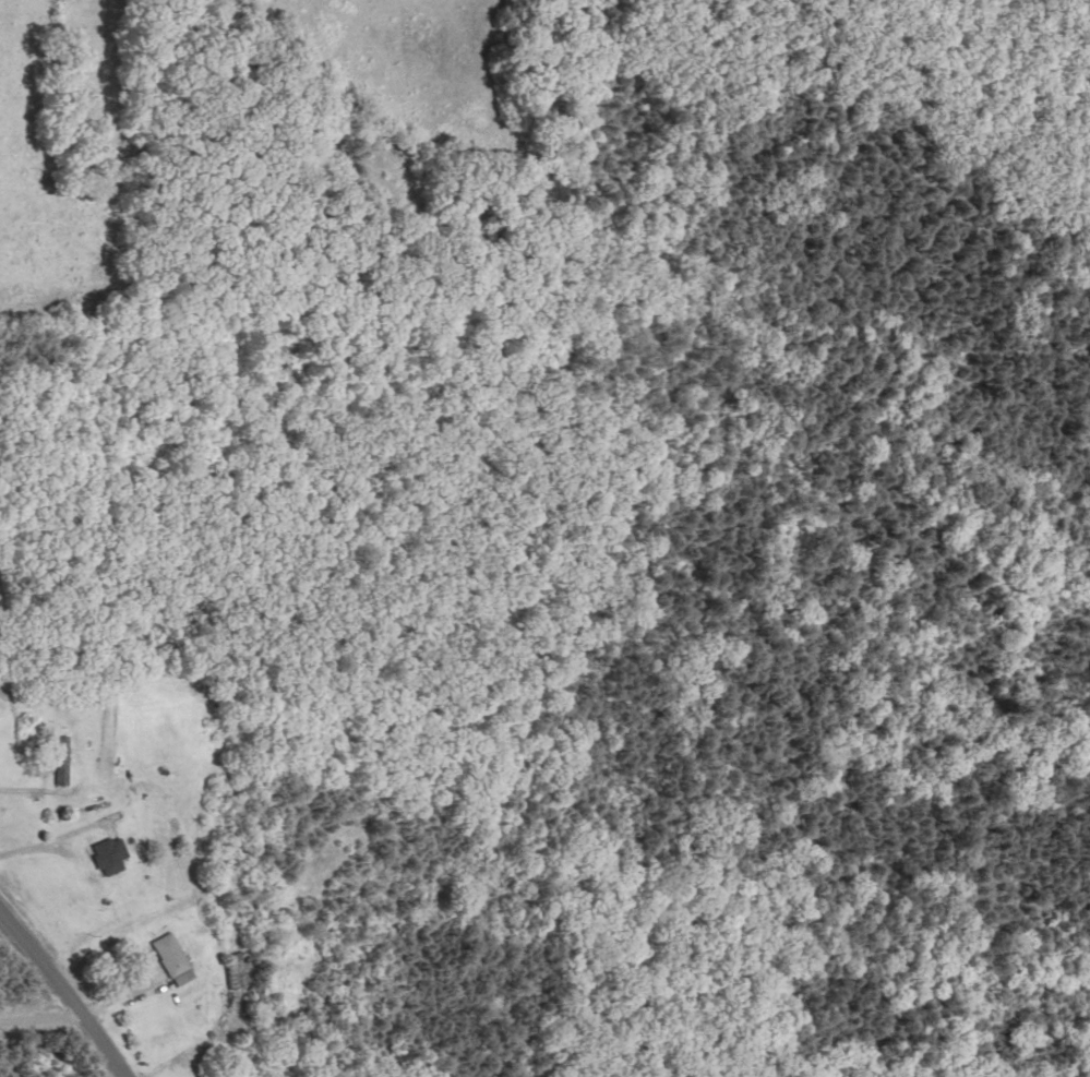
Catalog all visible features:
building: (67, 761)
building: (110, 855)
building: (169, 960)
building: (232, 970)
road: (73, 979)

